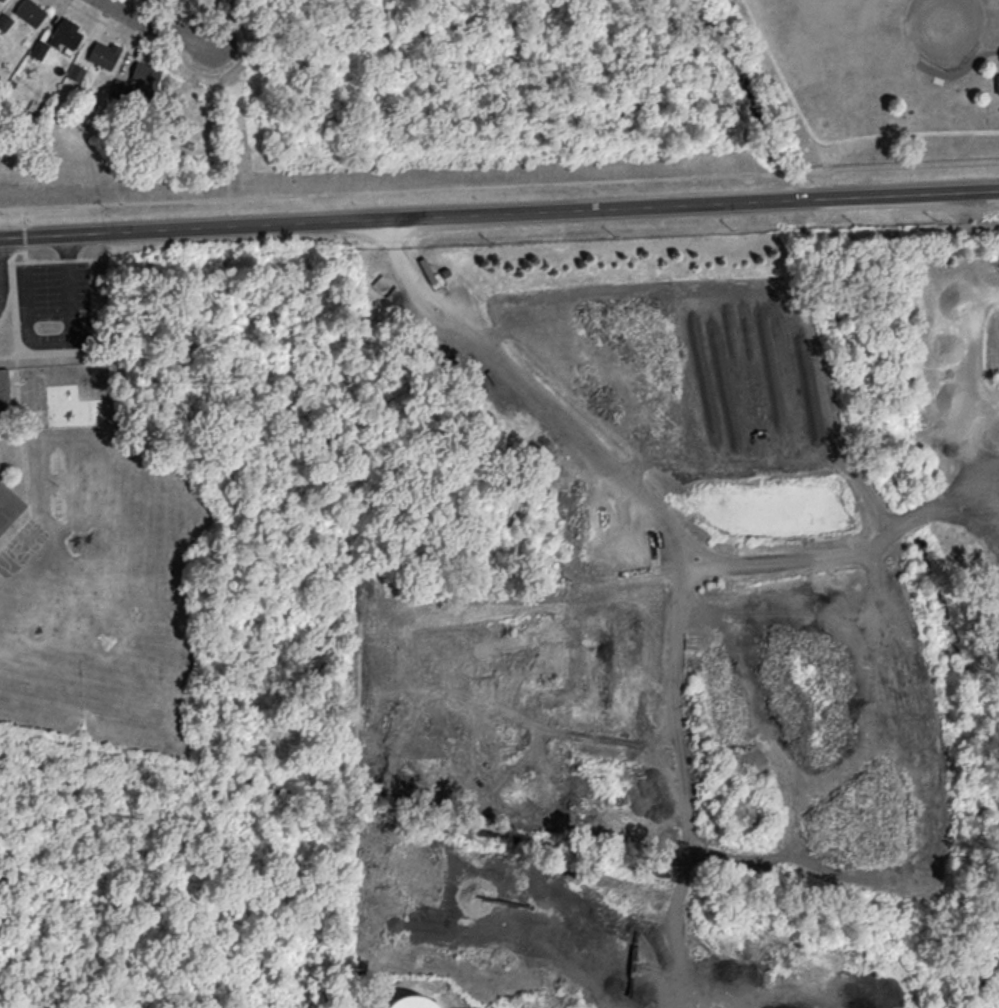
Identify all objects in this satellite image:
building: (1, 0)
park: (324, 9)
building: (30, 11)
park: (929, 25)
road: (159, 27)
building: (66, 34)
building: (103, 53)
road: (993, 53)
building: (146, 71)
road: (216, 72)
building: (998, 82)
park: (804, 92)
road: (225, 134)
road: (828, 142)
road: (827, 170)
road: (499, 184)
road: (24, 217)
road: (499, 217)
road: (25, 235)
road: (16, 250)
road: (26, 252)
road: (61, 259)
parking lot: (57, 291)
road: (9, 301)
road: (14, 306)
road: (71, 338)
road: (55, 352)
road: (970, 407)
road: (984, 408)
road: (983, 455)
road: (23, 456)
road: (637, 492)
building: (89, 499)
road: (680, 762)
building: (410, 1002)
storage tank: (411, 1003)

